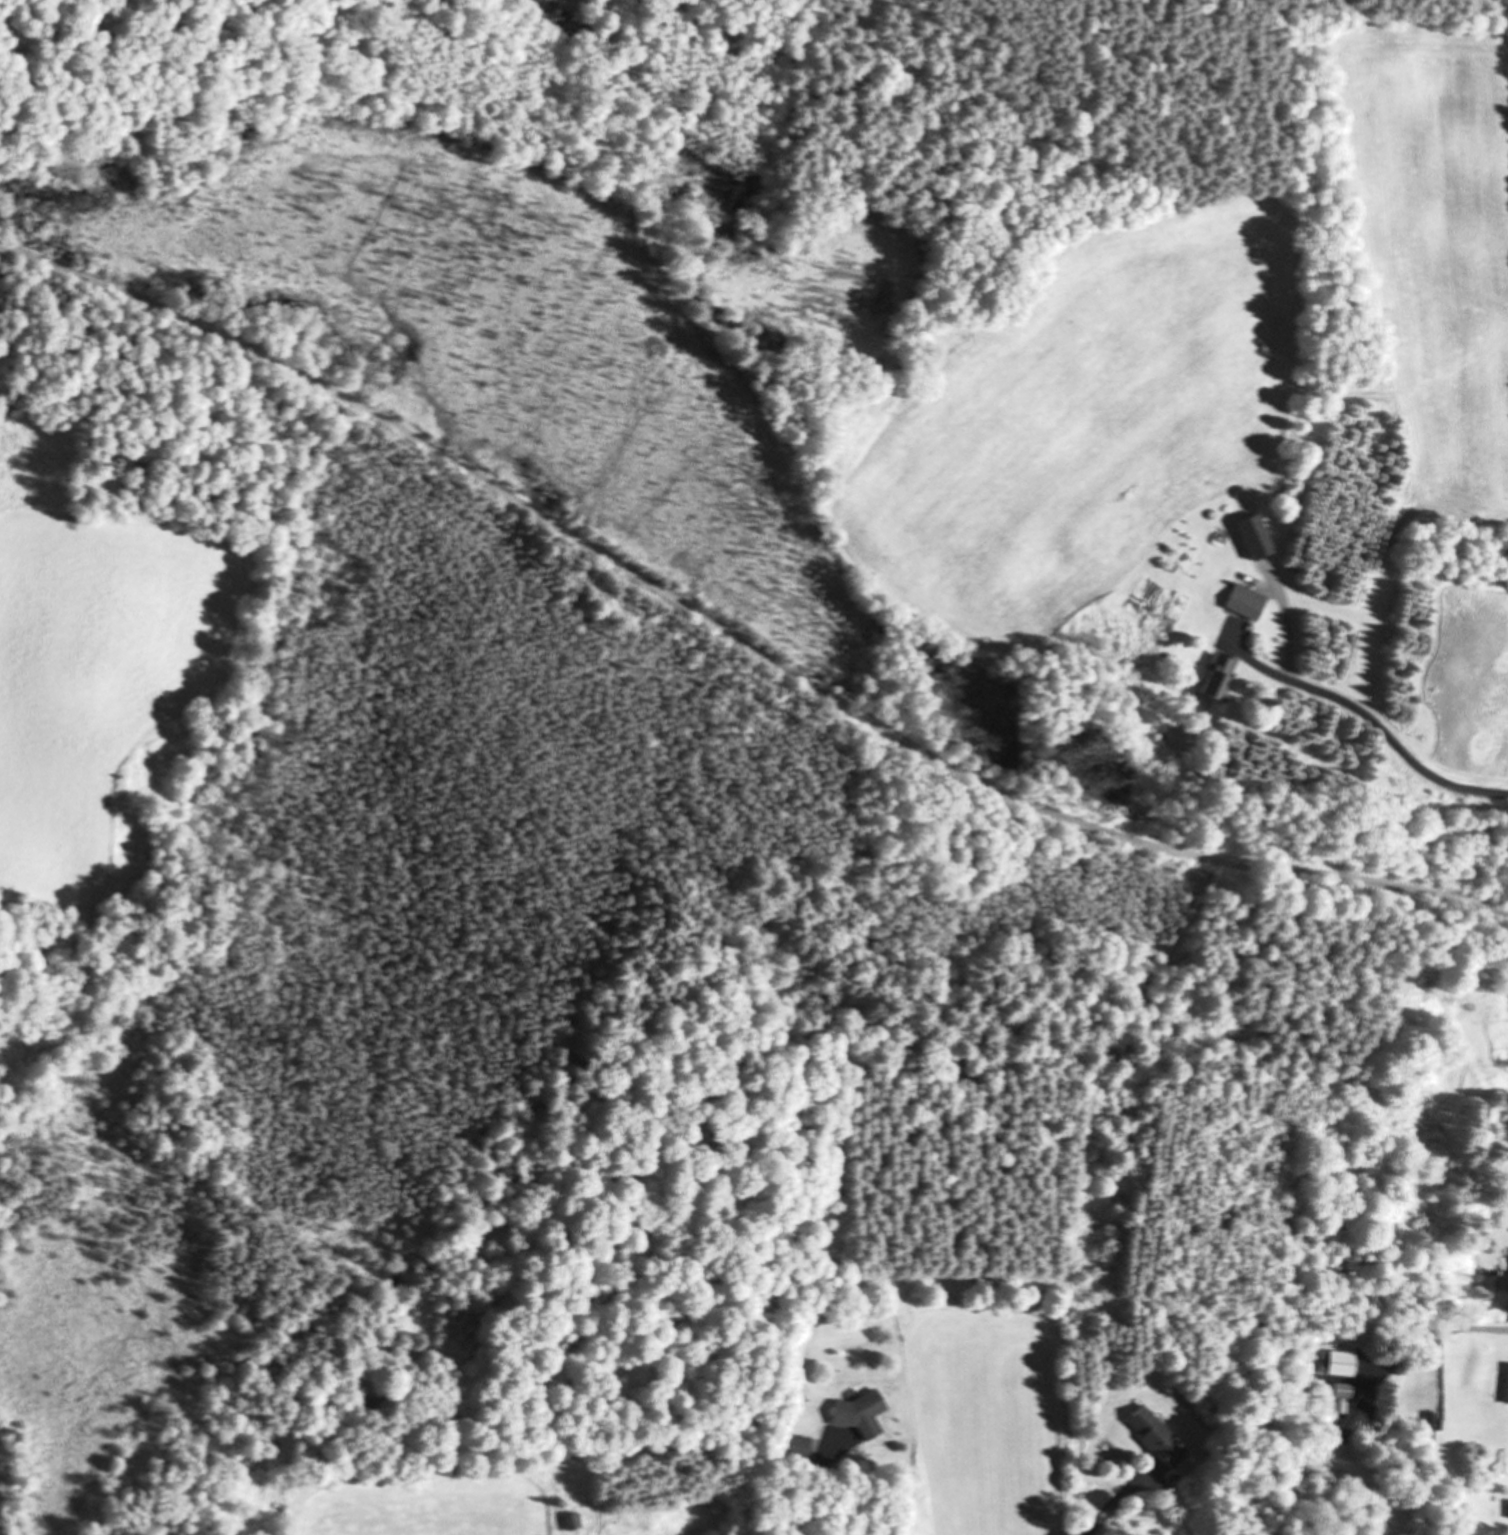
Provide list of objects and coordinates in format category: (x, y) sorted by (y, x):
road: (402, 430)
building: (1245, 603)
building: (1219, 675)
road: (1374, 728)
road: (1125, 840)
road: (1479, 1329)
road: (1408, 1345)
building: (1333, 1365)
building: (1506, 1388)
building: (1341, 1392)
building: (862, 1415)
building: (1354, 1420)
building: (1156, 1437)
road: (814, 1495)
road: (1106, 1507)
building: (573, 1523)

